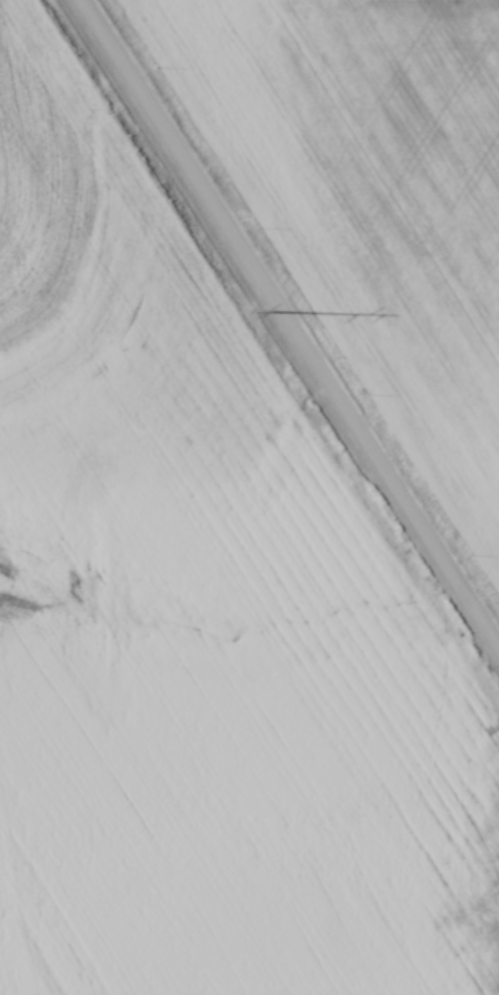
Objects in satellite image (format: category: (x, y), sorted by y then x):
power tower: (249, 310)
road: (289, 320)

